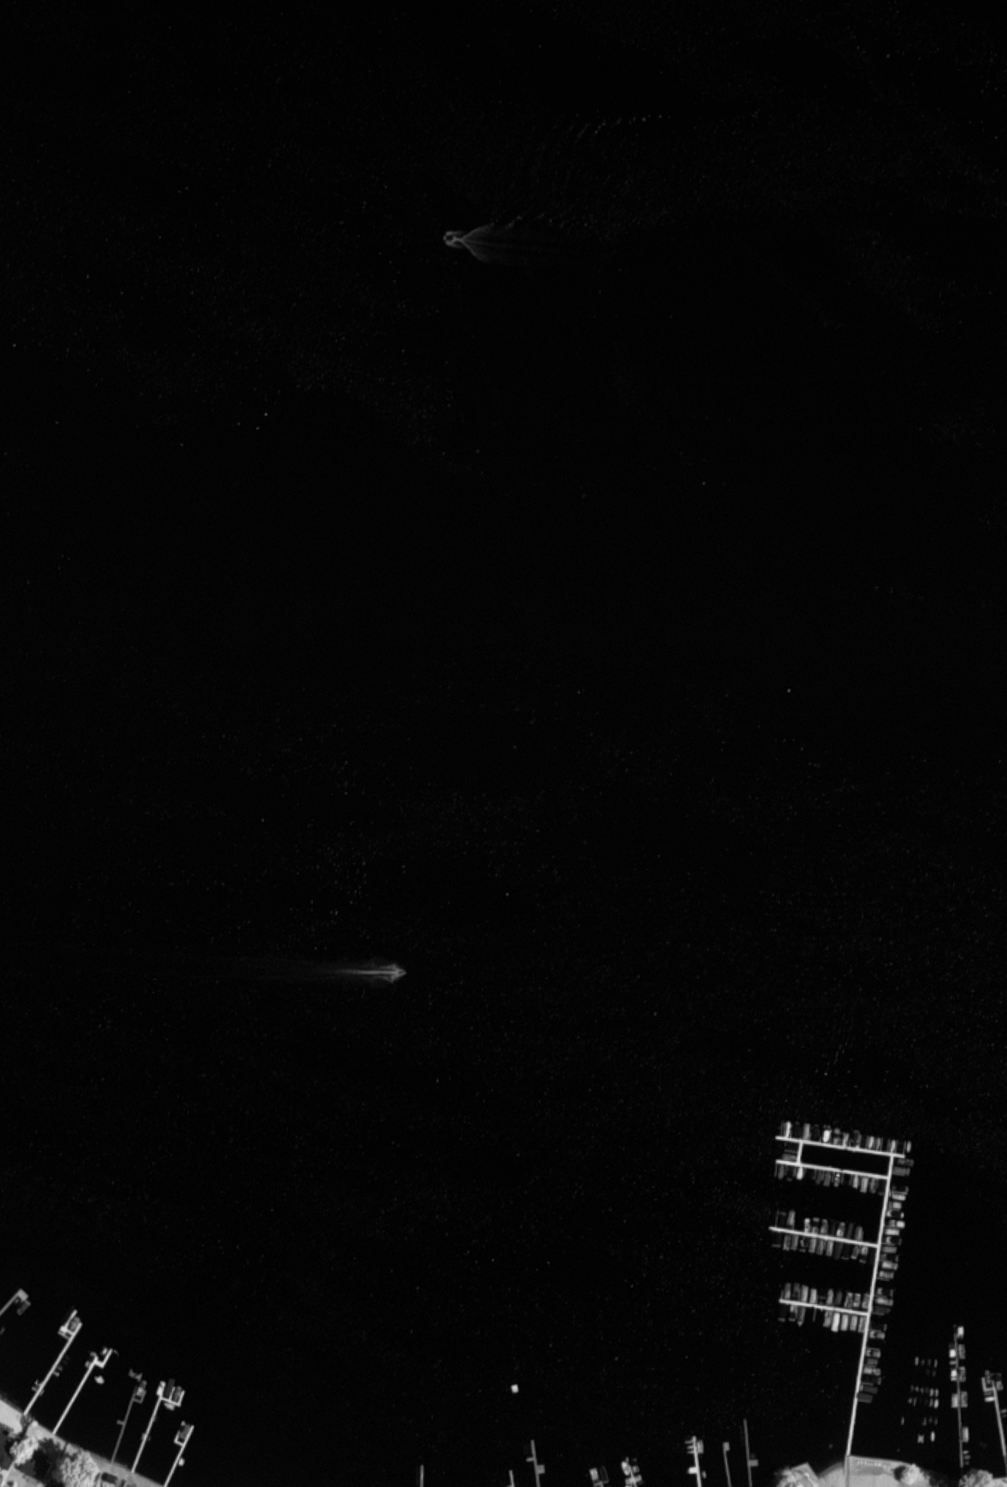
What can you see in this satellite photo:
building: (1, 1433)
building: (5, 1456)
building: (31, 1460)

